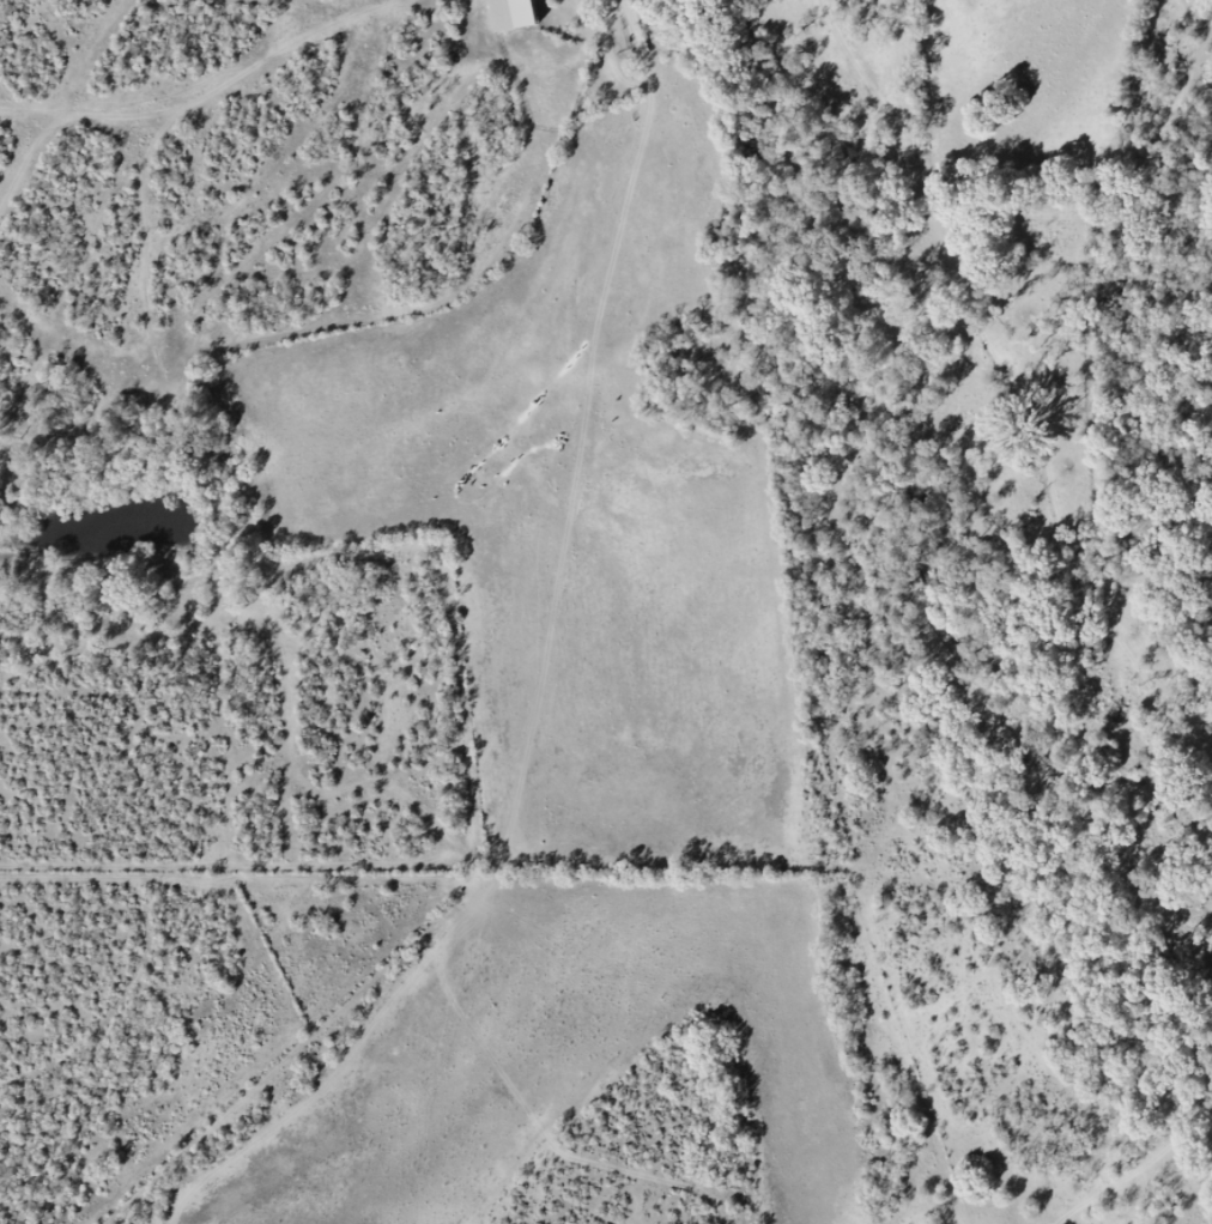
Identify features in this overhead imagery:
building: (511, 14)

